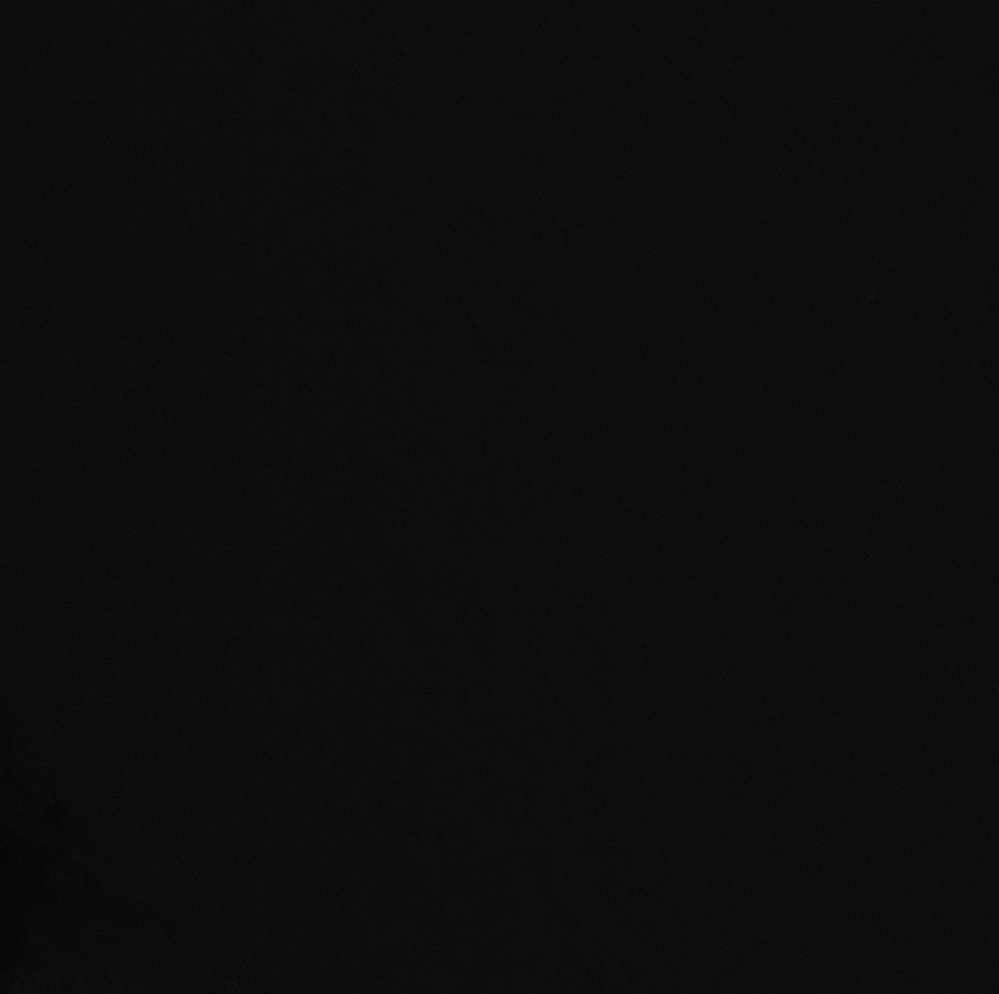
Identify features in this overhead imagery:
river: (461, 497)

